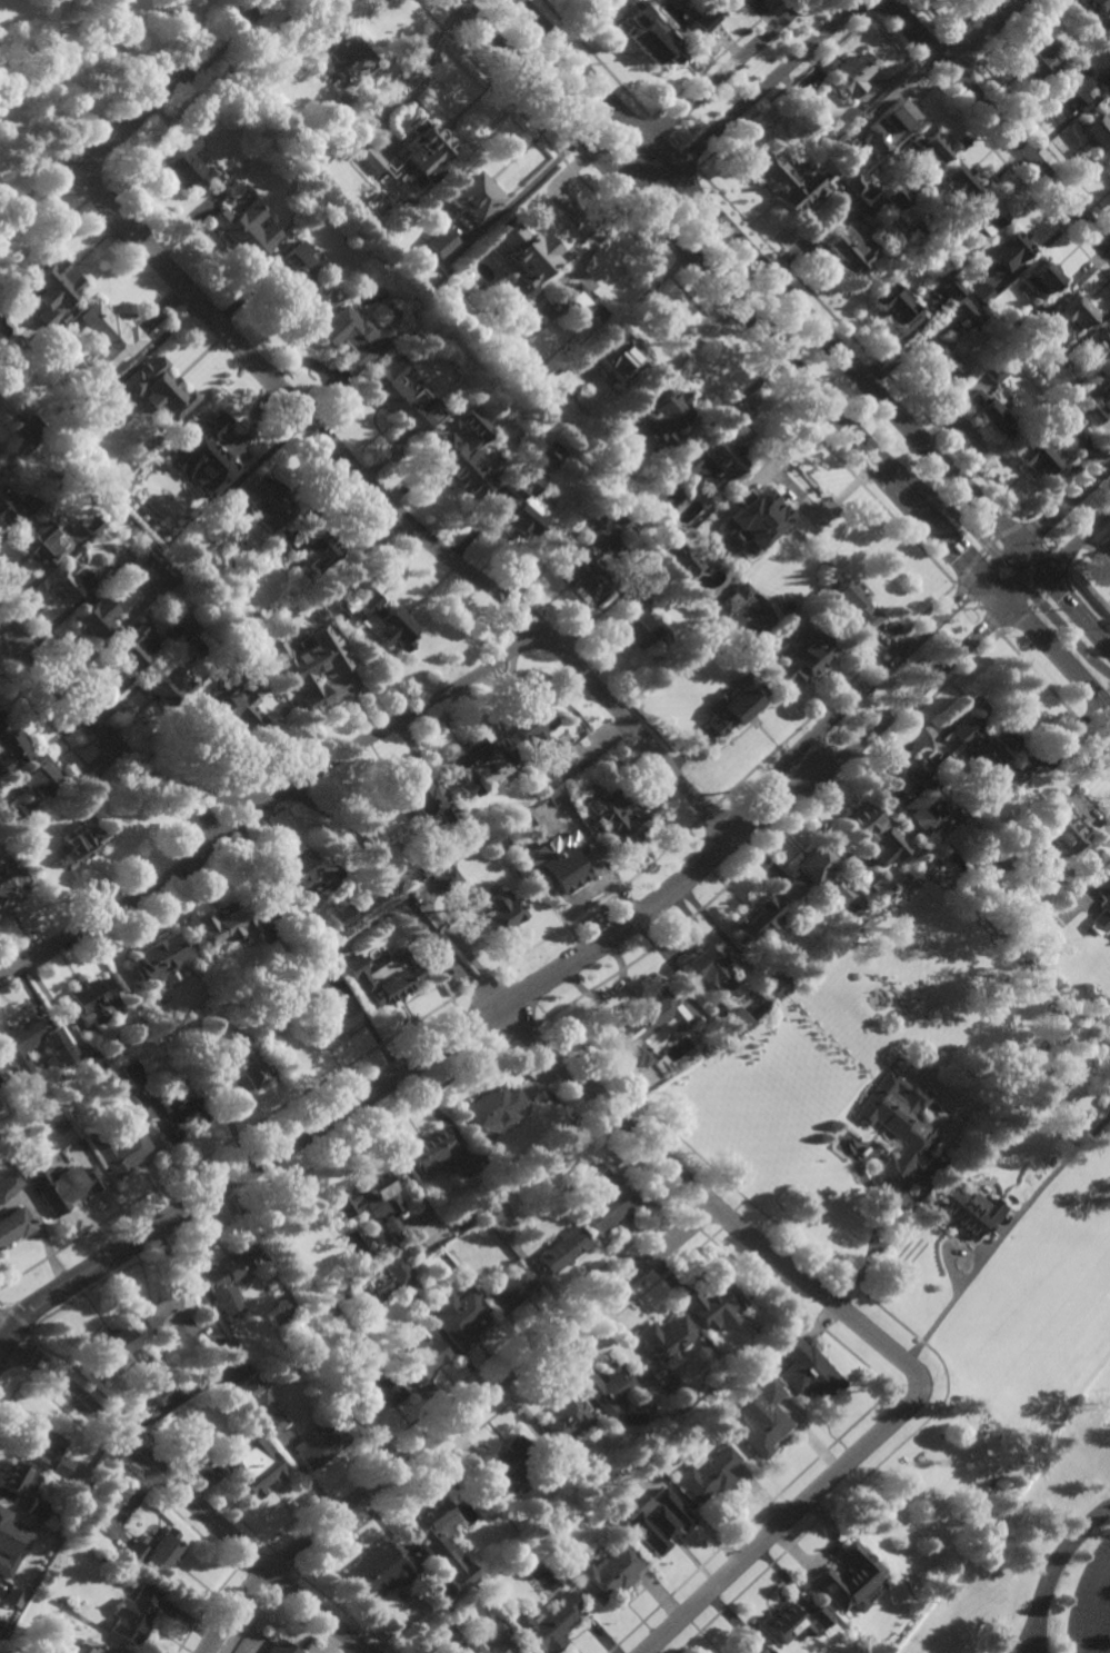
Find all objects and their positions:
road: (89, 6)
road: (103, 6)
building: (1101, 9)
building: (704, 20)
road: (982, 32)
building: (650, 33)
building: (1086, 33)
building: (692, 38)
road: (47, 41)
building: (343, 54)
building: (1033, 56)
road: (596, 59)
park: (77, 70)
building: (850, 71)
building: (1103, 79)
road: (706, 86)
road: (782, 90)
building: (1068, 91)
road: (203, 92)
road: (748, 99)
building: (331, 110)
building: (893, 114)
road: (131, 119)
road: (998, 122)
building: (1093, 127)
road: (673, 142)
building: (842, 143)
building: (924, 147)
building: (423, 148)
road: (989, 148)
building: (316, 152)
building: (368, 158)
building: (184, 163)
building: (1109, 165)
building: (783, 179)
building: (952, 182)
building: (854, 183)
road: (96, 192)
building: (470, 192)
building: (893, 196)
building: (869, 197)
building: (981, 216)
building: (923, 226)
building: (243, 230)
road: (44, 236)
building: (437, 241)
building: (1008, 248)
building: (848, 250)
building: (519, 251)
building: (953, 262)
building: (297, 276)
building: (1039, 279)
building: (949, 287)
building: (49, 290)
road: (683, 292)
building: (981, 293)
building: (493, 300)
building: (574, 302)
building: (893, 307)
building: (543, 308)
building: (964, 312)
building: (1072, 313)
road: (812, 323)
building: (1011, 329)
building: (353, 336)
building: (106, 337)
building: (1022, 339)
road: (859, 345)
building: (1093, 349)
road: (783, 355)
building: (619, 359)
building: (940, 364)
building: (993, 372)
building: (563, 379)
building: (1104, 386)
building: (159, 389)
building: (394, 399)
building: (743, 406)
building: (1087, 410)
building: (661, 415)
building: (987, 415)
building: (1063, 417)
building: (27, 427)
building: (214, 448)
building: (544, 455)
building: (464, 456)
building: (1034, 459)
building: (709, 462)
road: (1066, 482)
building: (261, 504)
road: (1063, 505)
building: (519, 506)
building: (6, 507)
road: (396, 512)
building: (604, 514)
building: (751, 519)
building: (89, 527)
road: (970, 527)
building: (660, 540)
road: (1076, 541)
building: (310, 546)
road: (1044, 546)
road: (982, 547)
building: (32, 550)
road: (1088, 550)
traffic signals: (994, 555)
building: (121, 558)
building: (681, 561)
building: (586, 565)
traffic signals: (1041, 571)
traffic signals: (984, 576)
building: (164, 577)
building: (67, 585)
building: (149, 590)
building: (740, 590)
road: (1084, 596)
traffic signals: (1032, 600)
building: (727, 604)
building: (853, 604)
road: (1033, 605)
road: (973, 607)
road: (1042, 611)
building: (369, 617)
park: (751, 619)
building: (183, 620)
building: (92, 621)
building: (638, 623)
road: (1, 625)
building: (193, 644)
building: (132, 648)
building: (801, 649)
road: (73, 656)
road: (893, 660)
building: (318, 669)
road: (918, 686)
building: (162, 688)
road: (834, 694)
road: (1051, 694)
building: (232, 705)
building: (734, 706)
building: (0, 713)
building: (1, 724)
road: (49, 726)
building: (534, 730)
building: (12, 744)
road: (119, 747)
building: (987, 754)
road: (121, 757)
building: (477, 760)
building: (38, 775)
building: (953, 784)
building: (550, 786)
building: (927, 798)
building: (558, 799)
road: (271, 800)
building: (424, 803)
building: (17, 808)
building: (614, 811)
road: (706, 811)
road: (204, 814)
building: (876, 832)
building: (1064, 832)
building: (988, 839)
road: (773, 840)
building: (83, 844)
building: (1002, 858)
building: (930, 868)
building: (563, 869)
road: (1101, 872)
building: (811, 873)
building: (301, 875)
building: (446, 878)
building: (10, 880)
building: (881, 887)
road: (597, 904)
building: (1102, 905)
building: (498, 909)
building: (338, 916)
building: (758, 918)
building: (228, 920)
road: (427, 928)
building: (316, 954)
building: (162, 957)
building: (708, 970)
building: (382, 976)
road: (478, 982)
building: (776, 984)
building: (91, 1000)
road: (457, 1007)
building: (337, 1016)
building: (732, 1020)
building: (651, 1023)
building: (842, 1032)
road: (517, 1036)
building: (13, 1048)
building: (92, 1063)
building: (236, 1063)
building: (11, 1071)
road: (399, 1074)
building: (1, 1079)
building: (64, 1102)
building: (164, 1103)
building: (491, 1108)
building: (899, 1125)
building: (59, 1126)
road: (232, 1137)
building: (119, 1148)
building: (438, 1156)
building: (528, 1158)
building: (8, 1186)
building: (63, 1186)
road: (707, 1201)
building: (603, 1202)
building: (372, 1203)
building: (966, 1211)
building: (493, 1212)
building: (13, 1226)
road: (880, 1233)
building: (561, 1251)
building: (403, 1254)
building: (398, 1271)
building: (228, 1279)
road: (958, 1289)
building: (509, 1292)
building: (357, 1300)
road: (1, 1306)
building: (714, 1306)
building: (170, 1316)
building: (459, 1317)
road: (18, 1318)
traffic signals: (3, 1332)
building: (667, 1340)
building: (116, 1347)
building: (224, 1348)
building: (423, 1357)
building: (240, 1364)
building: (807, 1368)
road: (22, 1372)
building: (608, 1386)
building: (673, 1387)
building: (160, 1390)
building: (373, 1394)
building: (258, 1403)
building: (760, 1418)
road: (451, 1422)
building: (564, 1424)
building: (39, 1442)
building: (319, 1442)
building: (509, 1463)
building: (252, 1464)
building: (58, 1466)
building: (708, 1472)
building: (17, 1475)
park: (943, 1488)
road: (182, 1493)
building: (499, 1493)
building: (37, 1506)
building: (3, 1515)
road: (783, 1520)
building: (662, 1523)
building: (442, 1542)
building: (156, 1549)
road: (1057, 1563)
building: (378, 1571)
building: (608, 1572)
building: (849, 1577)
building: (12, 1596)
parking lot: (1090, 1603)
road: (1091, 1606)
building: (133, 1613)
building: (458, 1615)
building: (793, 1621)
building: (549, 1622)
building: (3, 1630)
building: (501, 1635)
road: (1027, 1644)
road: (1034, 1644)
building: (280, 1646)
building: (749, 1647)
building: (99, 1649)
building: (1, 1652)

